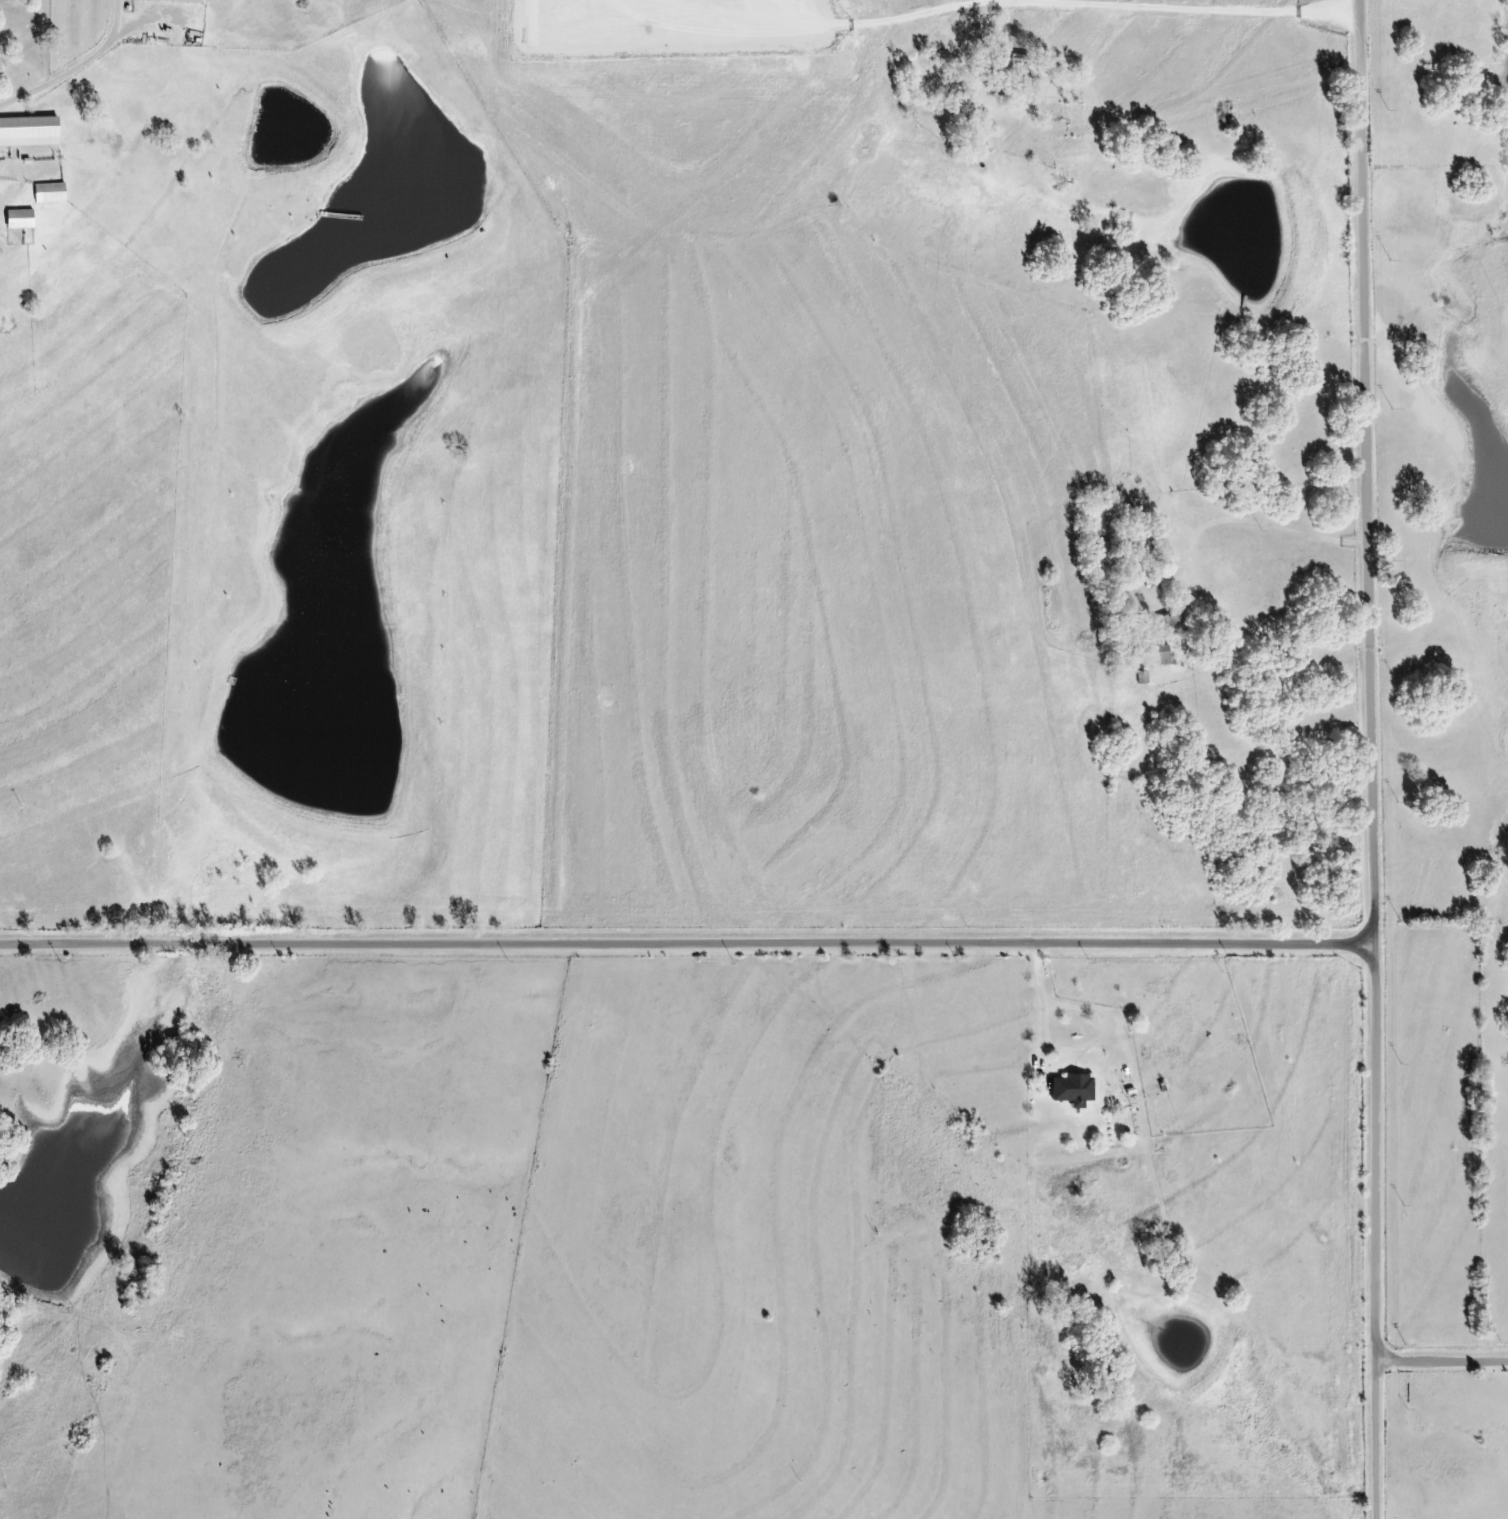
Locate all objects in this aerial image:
building: (179, 1)
road: (70, 61)
road: (1196, 81)
building: (29, 132)
building: (50, 193)
building: (20, 219)
road: (1263, 514)
building: (1097, 523)
building: (1143, 541)
building: (1108, 559)
building: (1172, 619)
building: (1162, 655)
building: (1143, 677)
road: (1369, 759)
road: (686, 938)
building: (1073, 1090)
road: (1440, 1355)

